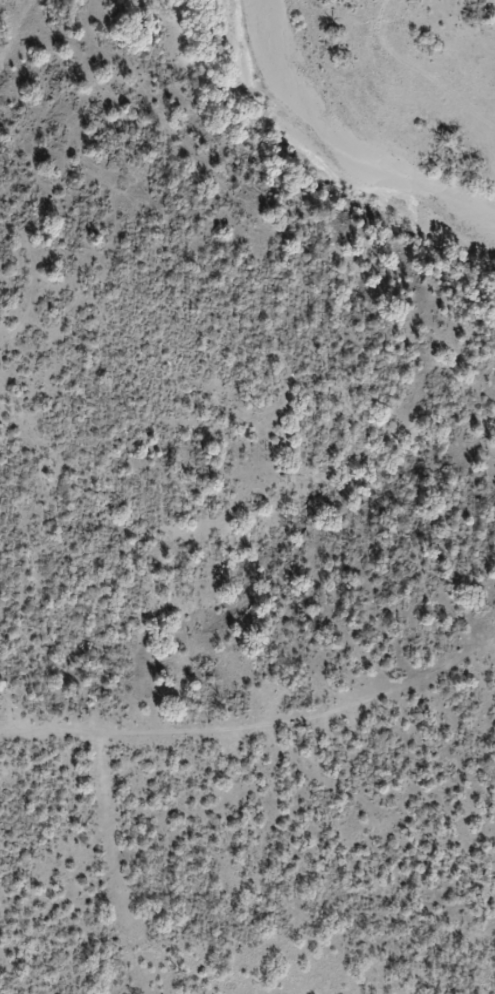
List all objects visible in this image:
road: (250, 721)

